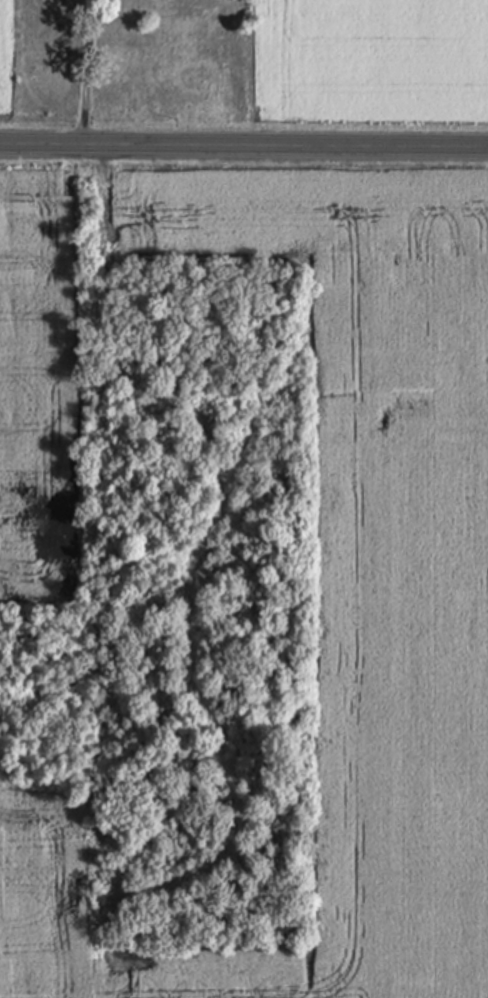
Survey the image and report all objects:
road: (87, 73)
road: (244, 147)

